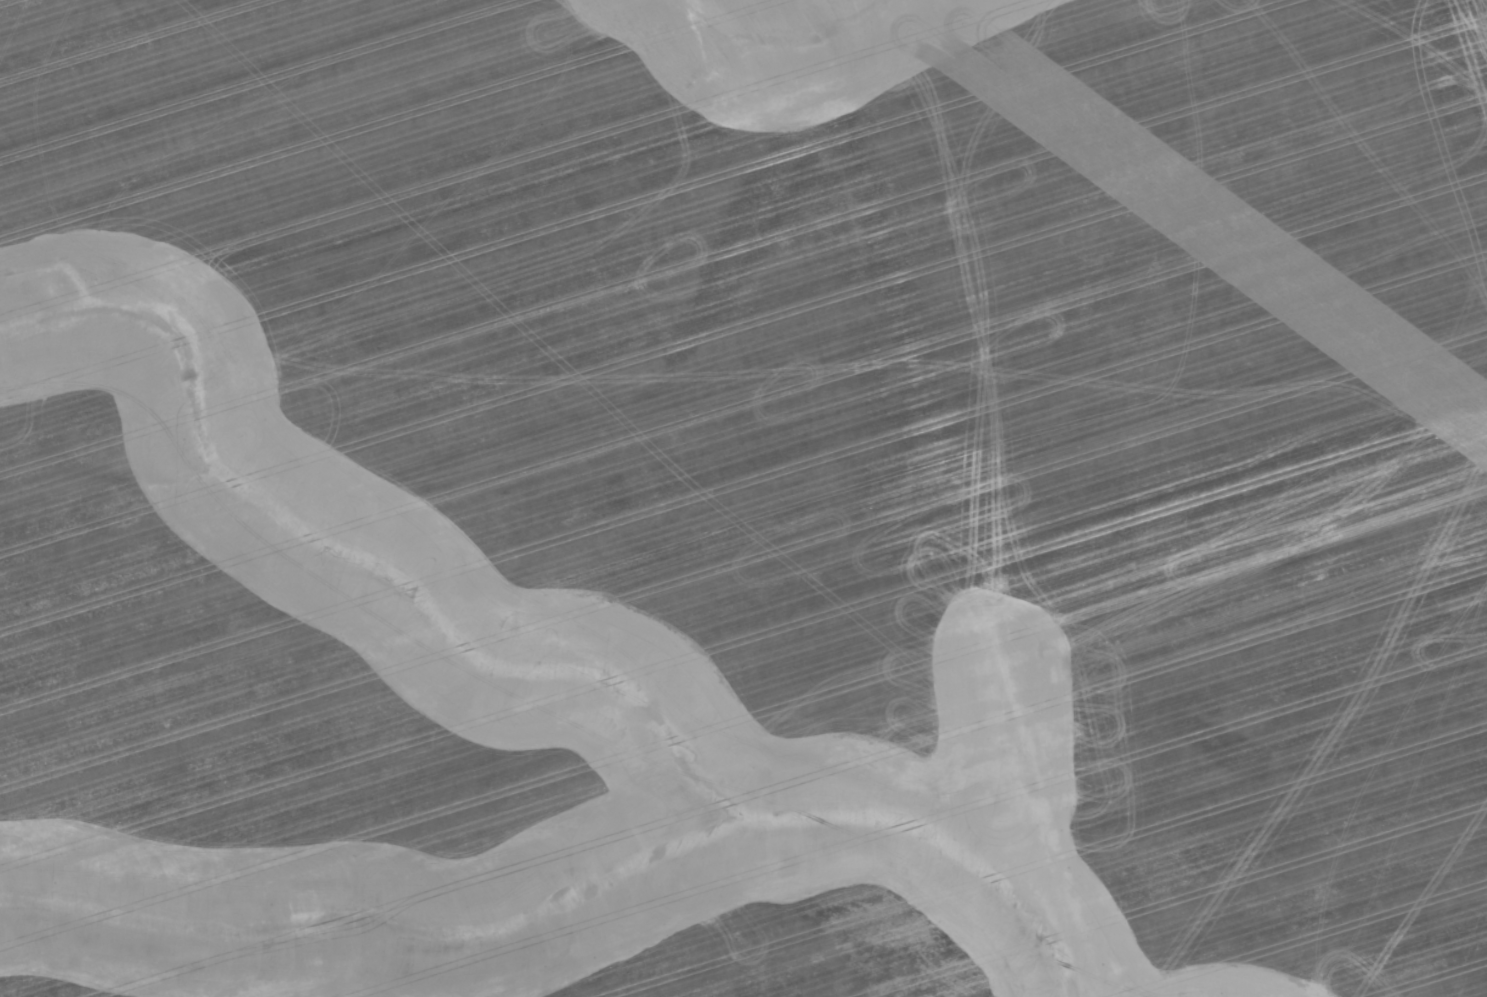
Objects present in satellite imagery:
road: (1243, 520)
road: (1054, 786)

